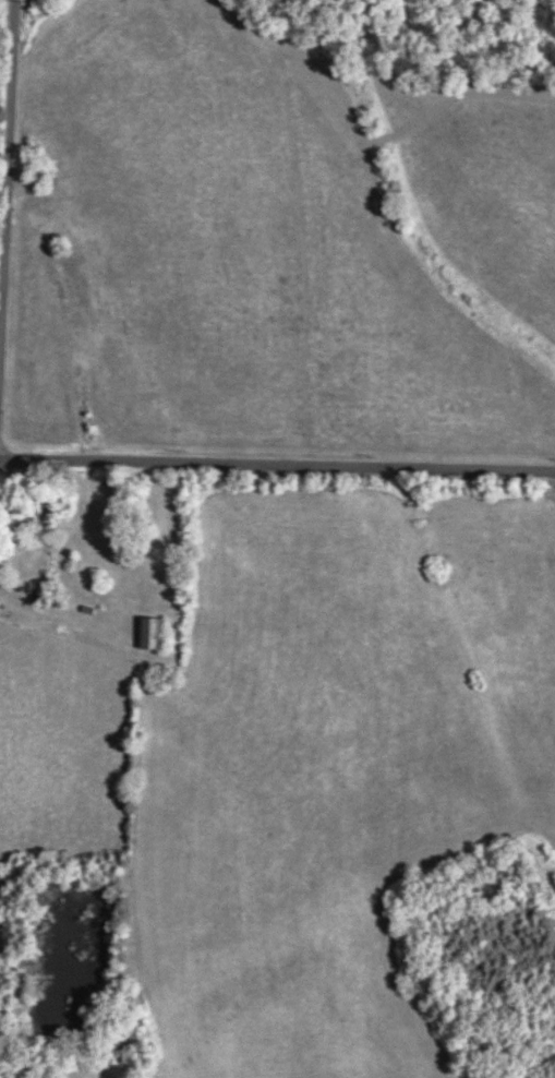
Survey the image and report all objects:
road: (4, 131)
road: (277, 455)
building: (152, 632)

